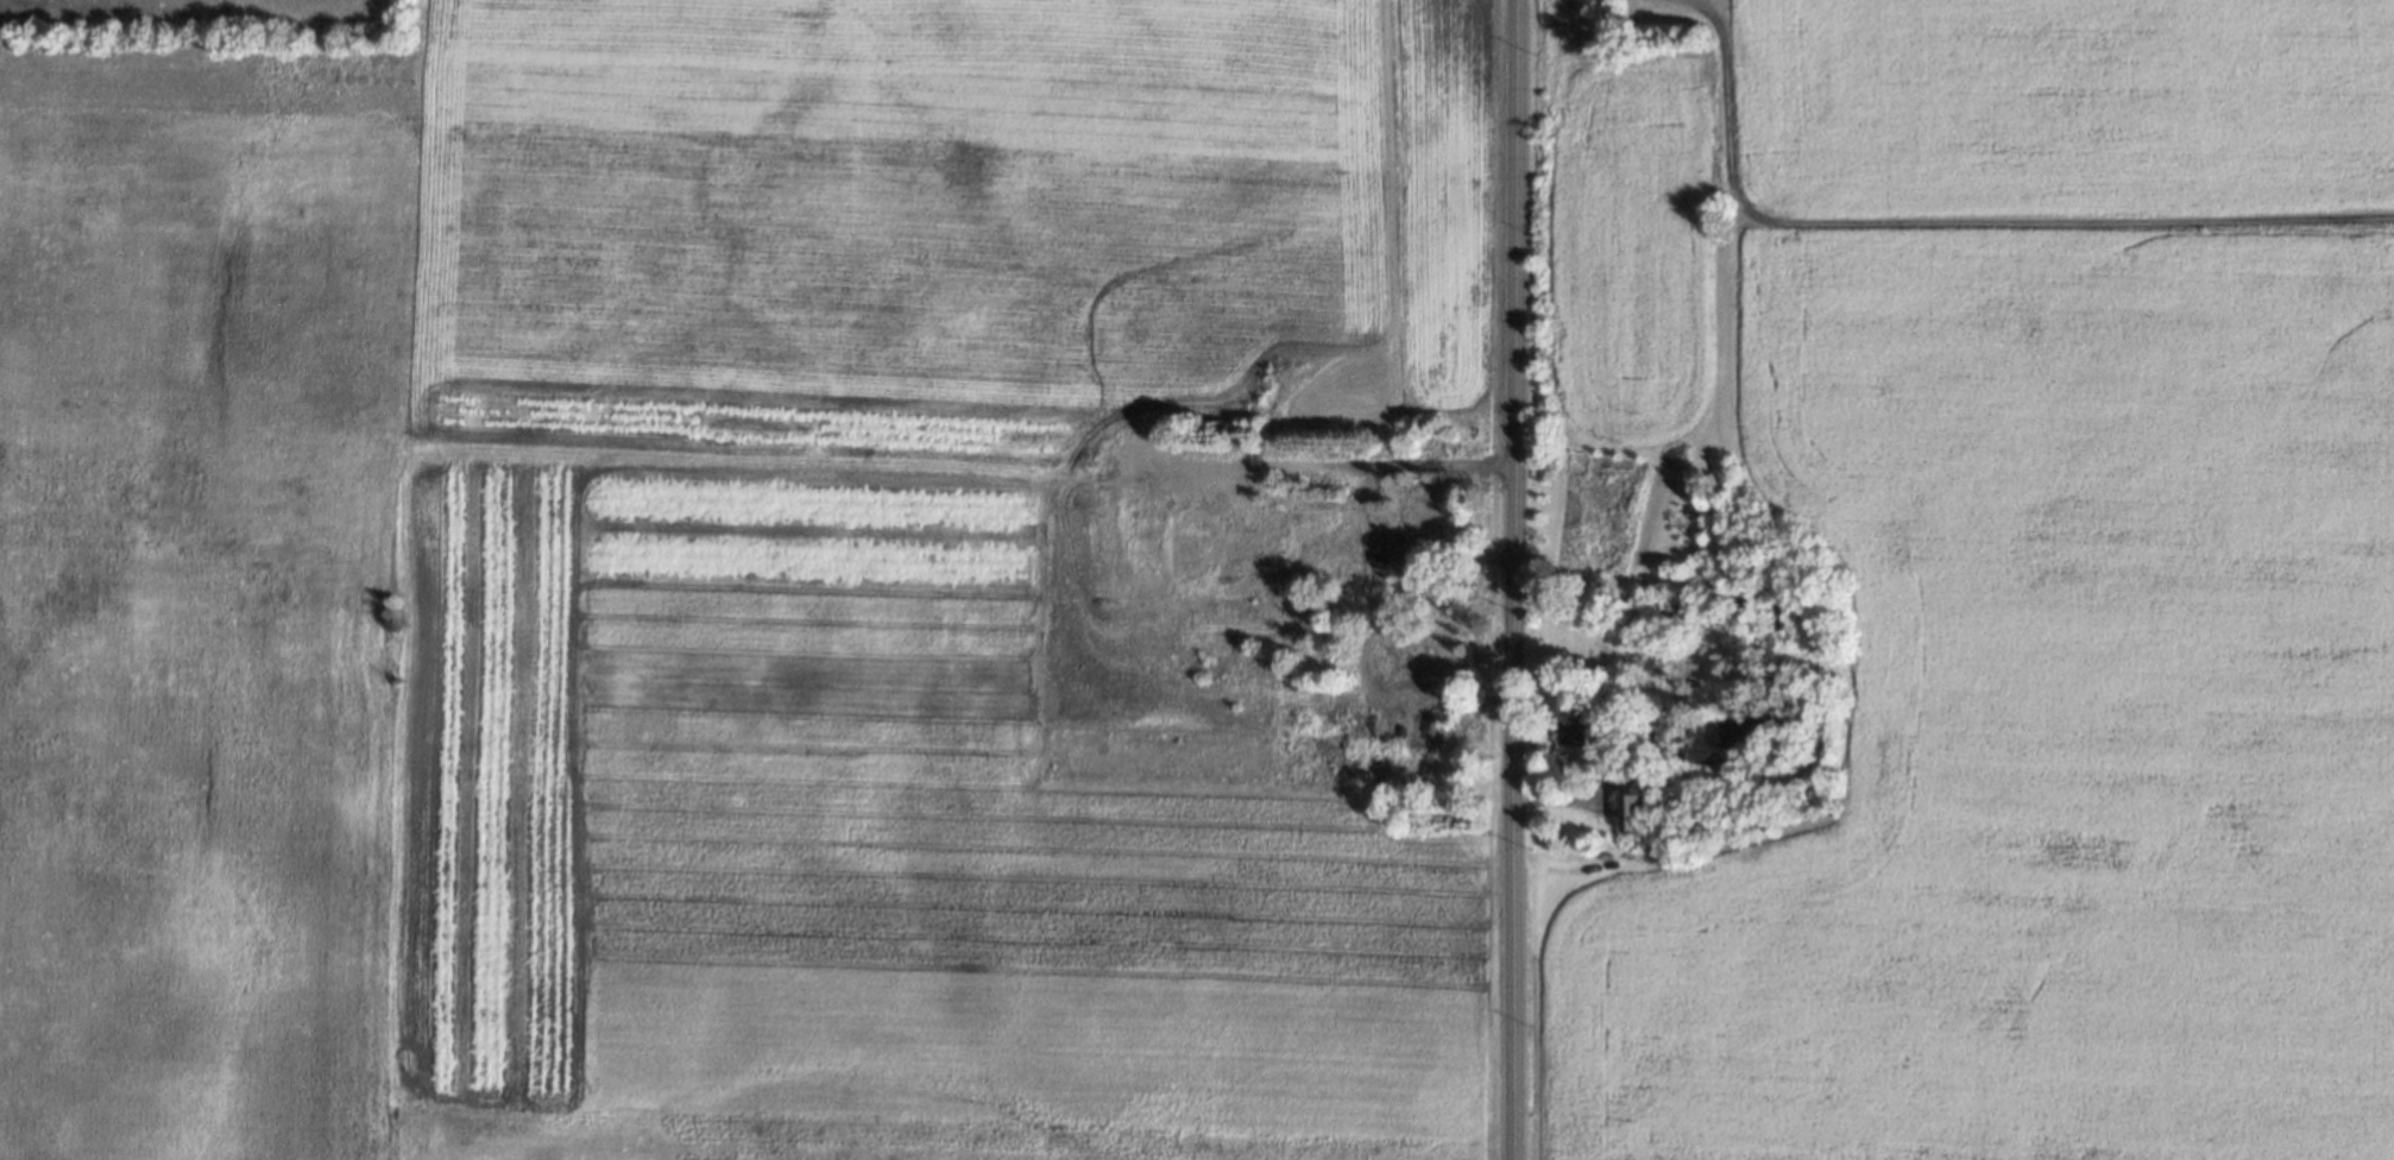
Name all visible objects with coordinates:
building: (1424, 516)
road: (1442, 560)
road: (1508, 579)
road: (1373, 584)
building: (1441, 668)
building: (1579, 727)
road: (1570, 800)
building: (1632, 812)

